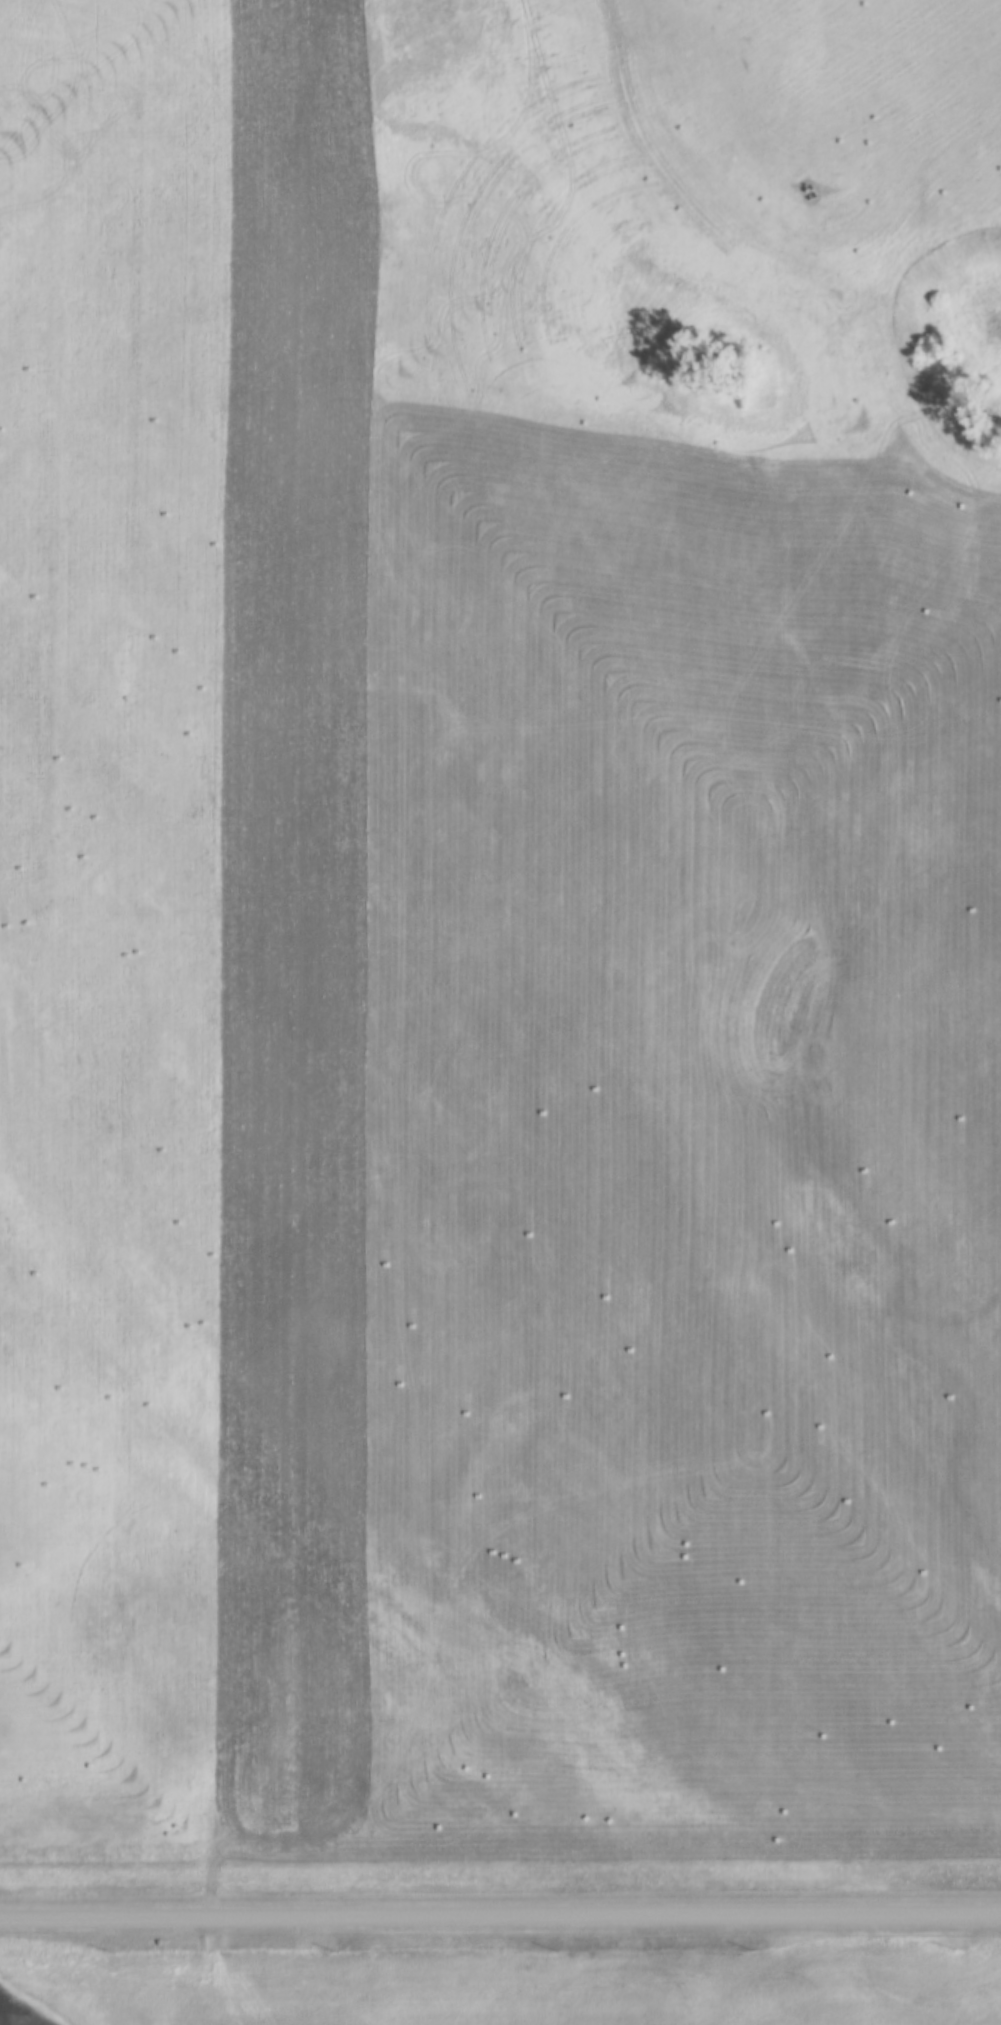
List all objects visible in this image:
road: (500, 1910)

